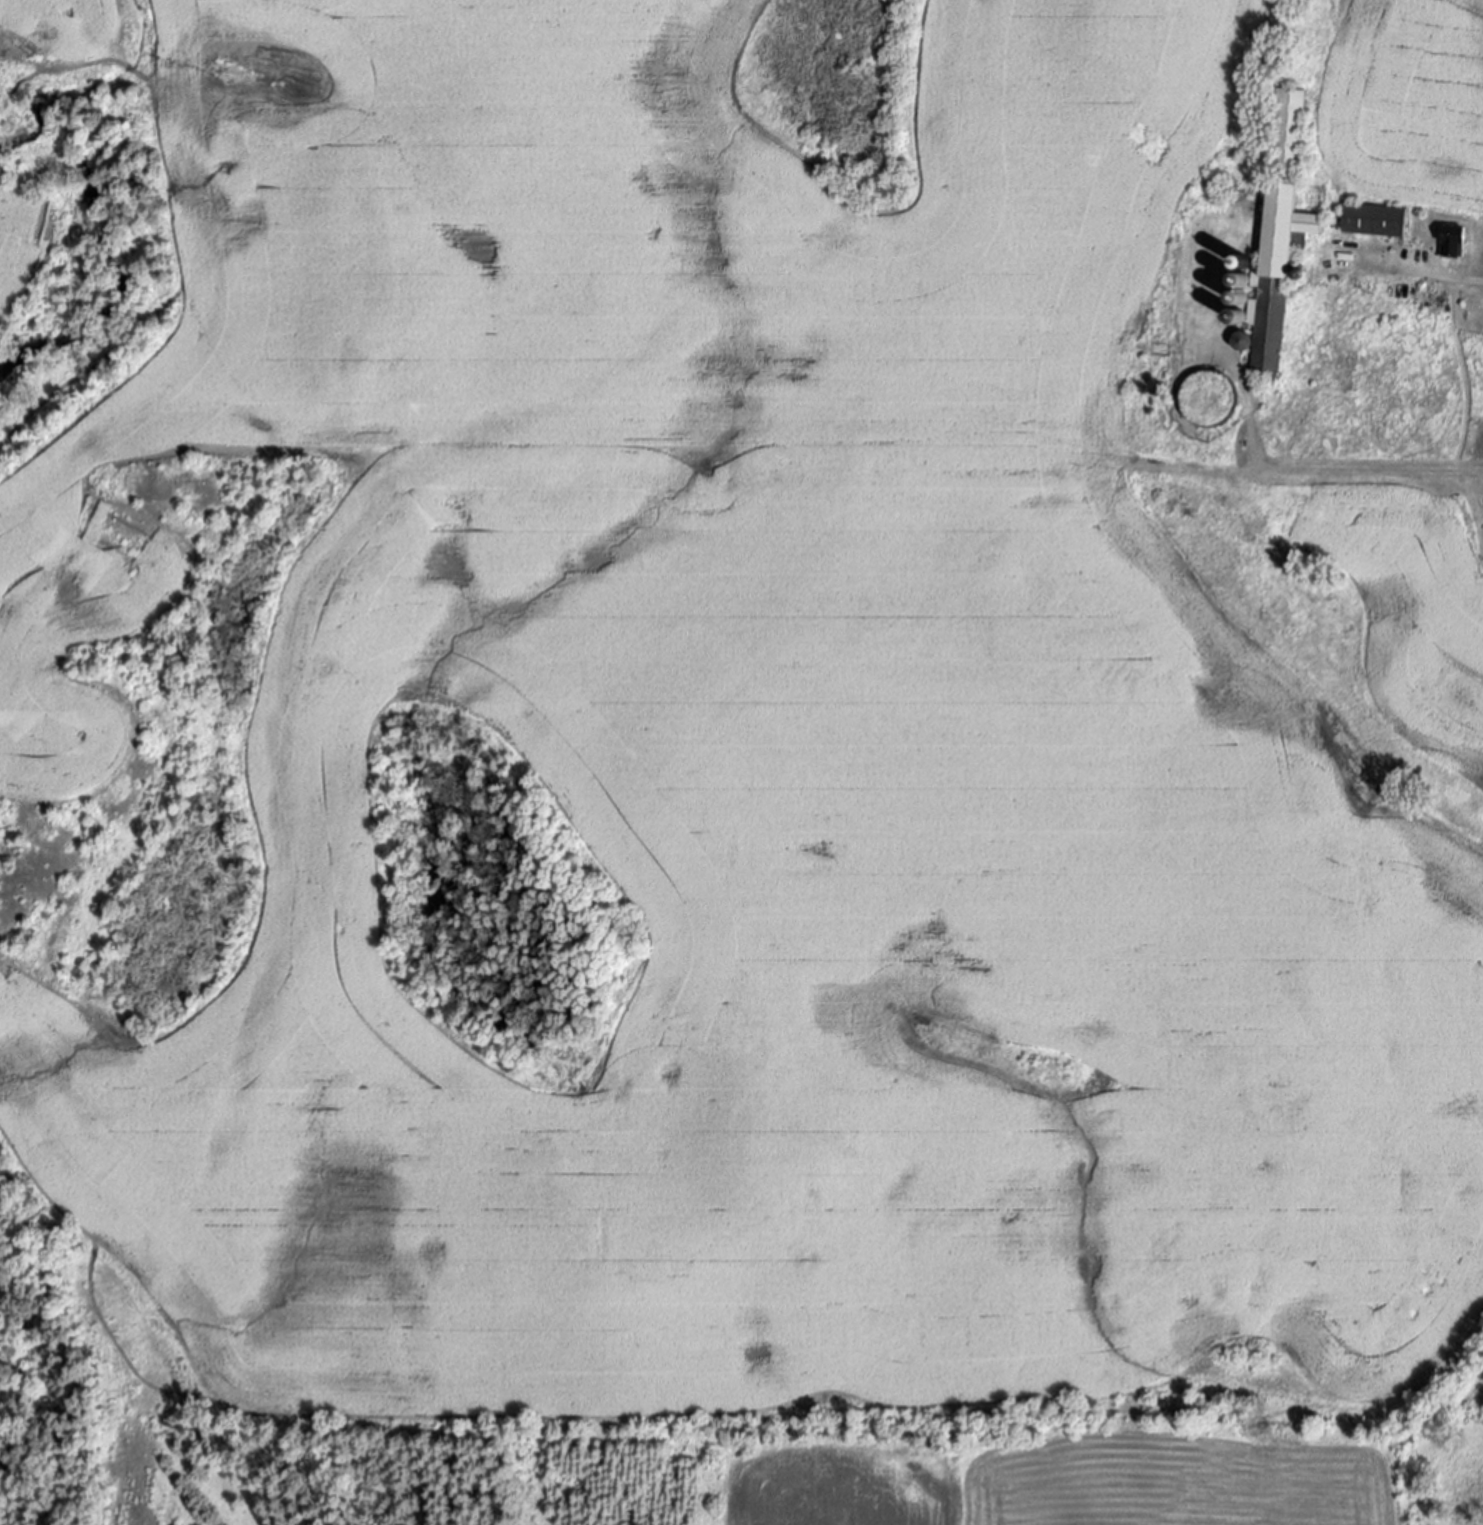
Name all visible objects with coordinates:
building: (1289, 126)
building: (1377, 220)
building: (1456, 240)
road: (1433, 274)
building: (1275, 277)
road: (1275, 467)

